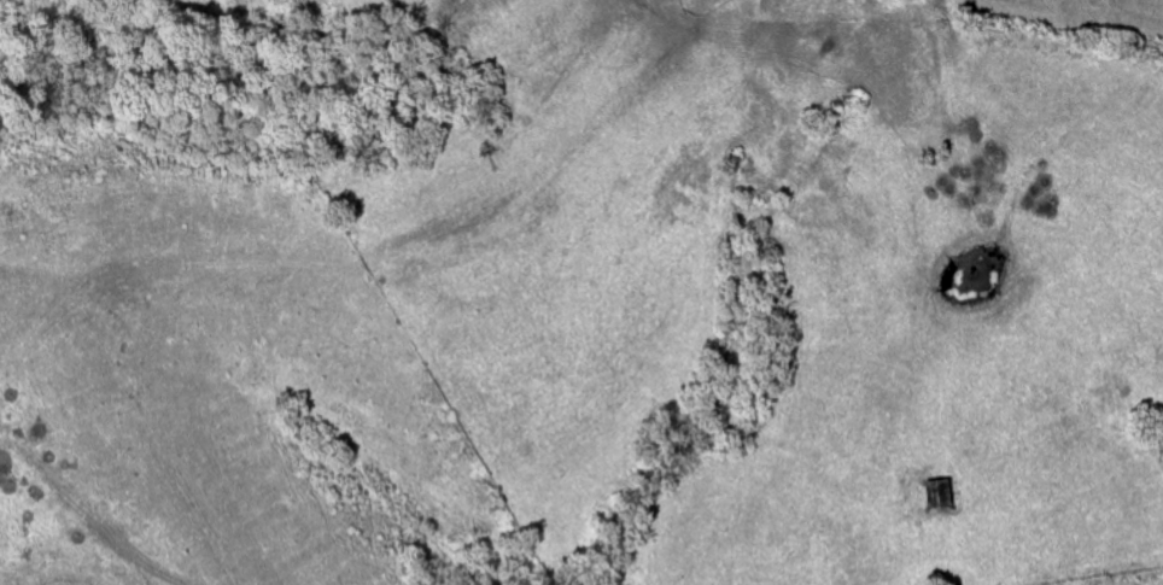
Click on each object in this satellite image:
building: (943, 496)

